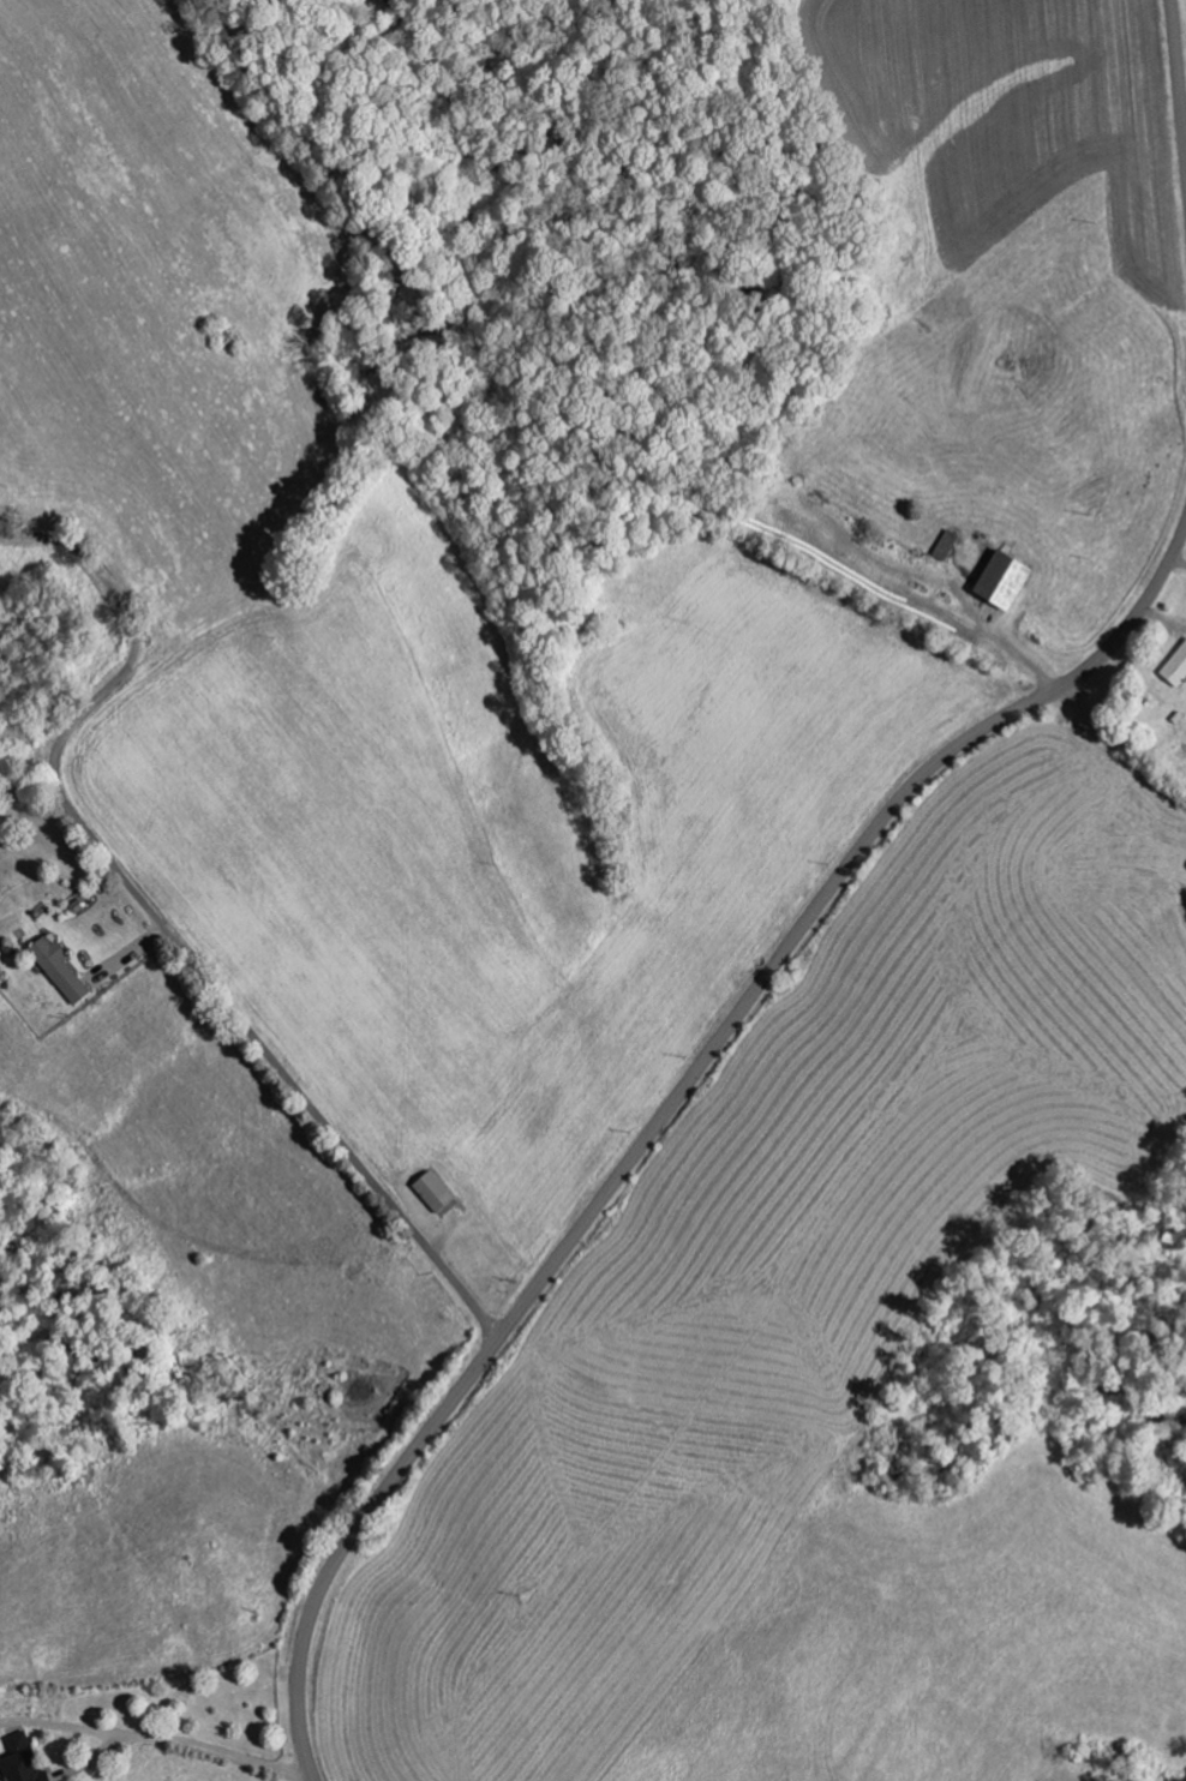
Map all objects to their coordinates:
road: (1181, 62)
building: (1175, 666)
road: (160, 925)
building: (58, 970)
road: (670, 1107)
building: (431, 1192)
building: (20, 1768)

